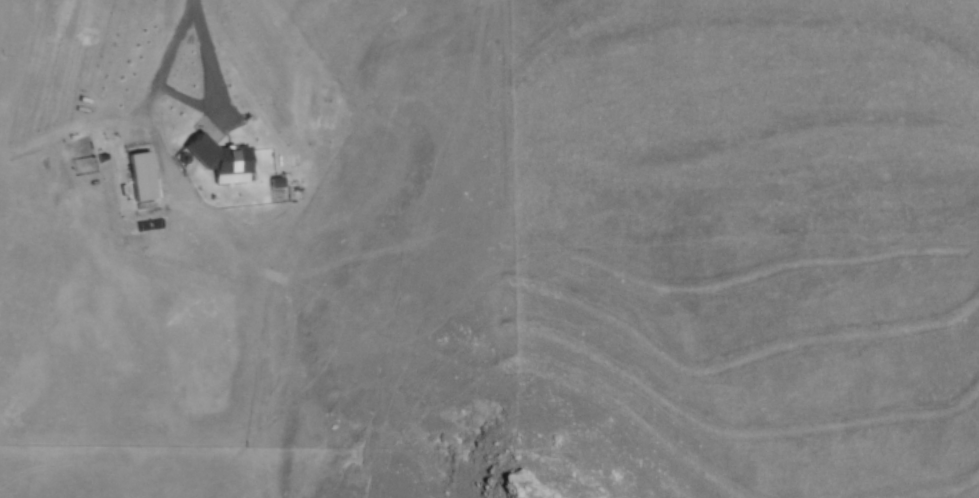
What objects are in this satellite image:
road: (202, 63)
road: (160, 69)
road: (181, 100)
building: (216, 158)
building: (139, 178)

